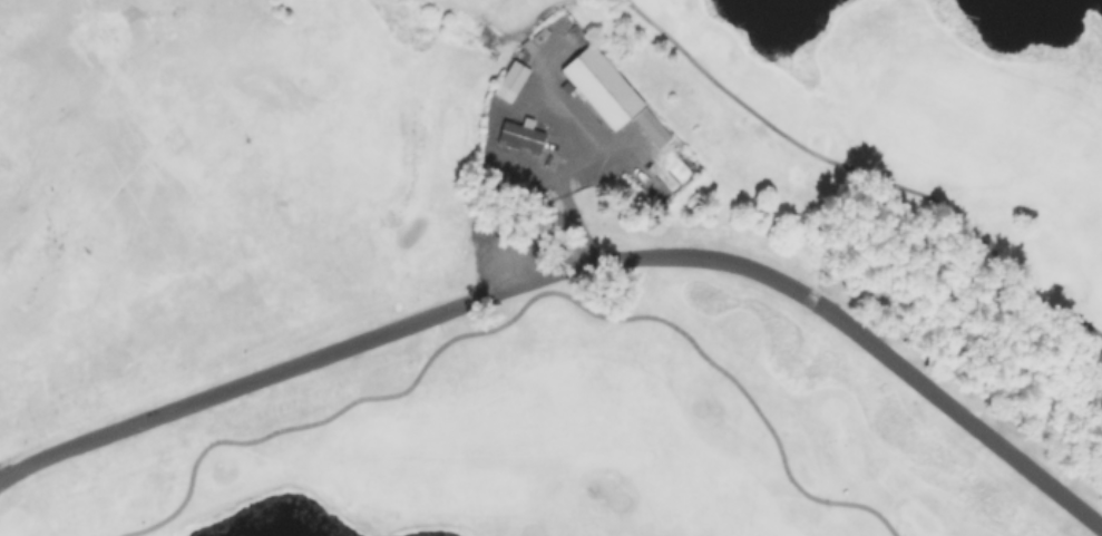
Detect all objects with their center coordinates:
building: (511, 75)
building: (599, 84)
building: (650, 126)
building: (519, 133)
road: (563, 167)
road: (866, 170)
road: (576, 265)
park: (550, 267)
road: (518, 306)

